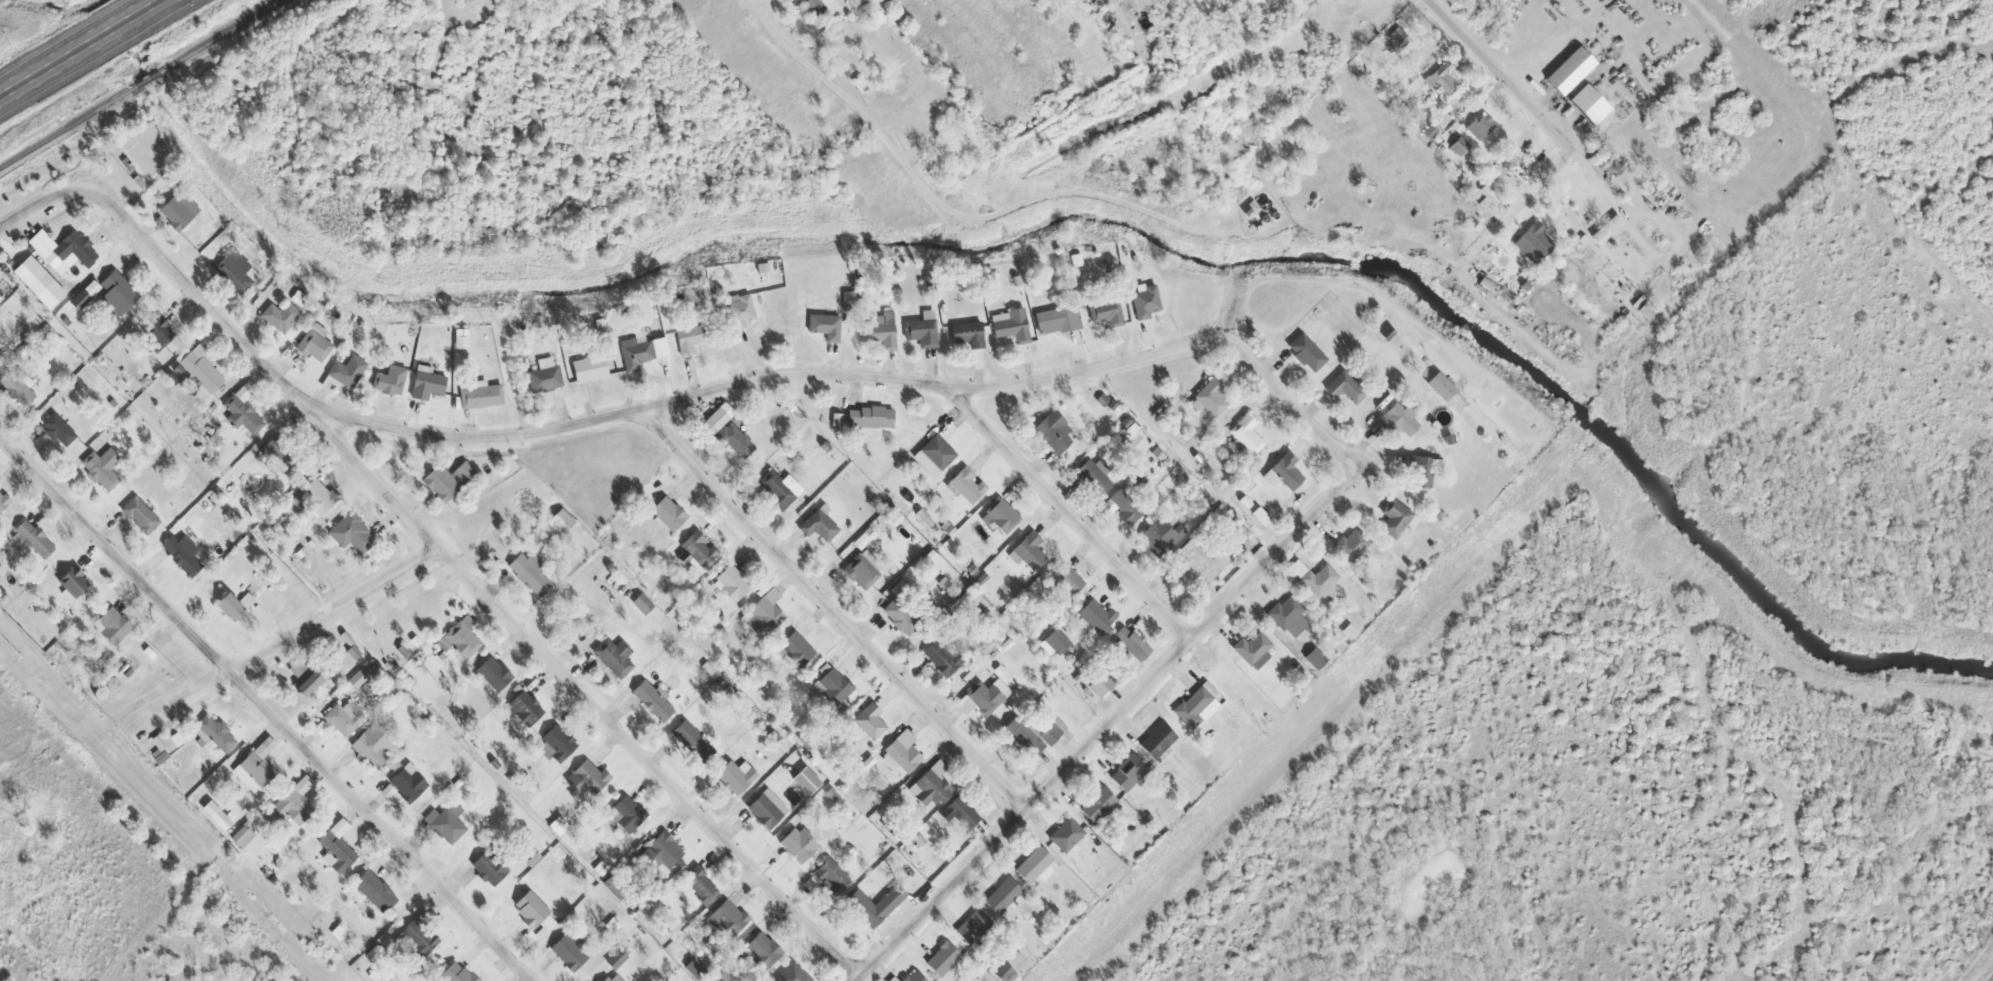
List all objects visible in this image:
building: (857, 3)
building: (814, 6)
road: (8, 17)
railway: (225, 37)
building: (1397, 40)
road: (80, 47)
road: (1506, 71)
building: (1569, 71)
building: (1442, 79)
railway: (150, 82)
building: (861, 86)
building: (1589, 104)
building: (1481, 127)
railway: (68, 129)
building: (1429, 133)
building: (1460, 146)
building: (1615, 167)
building: (1488, 199)
road: (40, 201)
building: (179, 206)
road: (948, 207)
building: (1534, 243)
building: (80, 244)
building: (1135, 255)
building: (1076, 256)
building: (233, 265)
building: (764, 269)
building: (0, 274)
building: (32, 276)
building: (1018, 276)
building: (121, 289)
building: (85, 290)
building: (702, 291)
building: (847, 293)
building: (1145, 296)
building: (321, 304)
building: (1198, 304)
building: (737, 308)
building: (1643, 308)
building: (1106, 309)
building: (315, 313)
building: (1057, 314)
building: (280, 315)
building: (67, 319)
building: (363, 321)
building: (1015, 323)
building: (826, 324)
building: (879, 327)
building: (922, 327)
building: (968, 328)
building: (413, 329)
building: (159, 330)
building: (462, 334)
building: (1387, 334)
building: (698, 335)
building: (1, 337)
building: (316, 339)
building: (641, 348)
building: (2, 352)
building: (1306, 353)
building: (546, 363)
building: (349, 367)
building: (201, 368)
building: (592, 369)
road: (859, 373)
building: (546, 375)
building: (391, 377)
building: (427, 379)
building: (21, 380)
building: (1345, 388)
building: (1443, 389)
building: (482, 392)
building: (1210, 398)
building: (1106, 402)
building: (245, 411)
building: (869, 418)
building: (717, 419)
building: (836, 420)
building: (1398, 420)
building: (59, 427)
building: (1128, 427)
building: (1054, 432)
building: (1247, 434)
building: (736, 441)
building: (934, 456)
building: (101, 461)
building: (1424, 465)
building: (1284, 473)
building: (449, 477)
building: (1094, 477)
building: (967, 486)
building: (780, 488)
building: (319, 492)
building: (5, 498)
building: (1124, 508)
building: (229, 511)
building: (141, 512)
road: (1070, 513)
building: (667, 515)
building: (1000, 517)
building: (1261, 517)
building: (1397, 519)
building: (559, 523)
building: (819, 525)
building: (356, 531)
building: (35, 536)
building: (1160, 537)
building: (864, 539)
building: (313, 540)
building: (1352, 545)
building: (698, 549)
building: (184, 550)
building: (303, 550)
building: (1027, 552)
building: (682, 559)
building: (932, 559)
building: (0, 561)
building: (1202, 562)
building: (530, 574)
building: (77, 578)
road: (475, 581)
building: (1068, 581)
building: (943, 583)
building: (1321, 583)
building: (732, 584)
building: (5, 596)
building: (237, 601)
building: (642, 604)
road: (833, 611)
building: (765, 615)
building: (900, 617)
building: (1096, 617)
building: (1288, 617)
building: (115, 623)
road: (296, 633)
building: (461, 639)
building: (1056, 643)
building: (1132, 643)
building: (797, 649)
building: (150, 650)
building: (1253, 651)
building: (353, 652)
building: (614, 658)
building: (942, 658)
building: (1315, 659)
building: (494, 674)
building: (302, 679)
building: (831, 686)
building: (1101, 686)
building: (987, 697)
building: (653, 700)
building: (1197, 706)
road: (265, 708)
building: (525, 709)
building: (344, 719)
building: (869, 722)
road: (1107, 726)
building: (215, 735)
building: (1034, 736)
building: (177, 740)
building: (692, 742)
building: (1157, 742)
building: (559, 743)
building: (371, 747)
building: (159, 749)
building: (901, 753)
building: (256, 767)
building: (1129, 775)
building: (736, 777)
building: (586, 780)
building: (806, 781)
building: (408, 783)
building: (930, 786)
building: (290, 806)
building: (1098, 806)
building: (767, 810)
building: (960, 814)
building: (626, 815)
building: (216, 816)
building: (446, 823)
building: (557, 826)
building: (1066, 836)
building: (242, 837)
building: (799, 845)
building: (337, 848)
building: (661, 854)
building: (1035, 867)
building: (488, 869)
building: (828, 878)
building: (700, 886)
building: (375, 892)
building: (1003, 897)
building: (875, 906)
building: (530, 910)
building: (726, 918)
building: (612, 926)
building: (973, 928)
building: (338, 933)
building: (418, 939)
building: (763, 950)
building: (568, 952)
building: (373, 954)
building: (616, 960)
building: (942, 960)
building: (695, 968)
building: (1006, 973)
building: (455, 974)
building: (792, 974)
building: (916, 977)
building: (612, 978)

